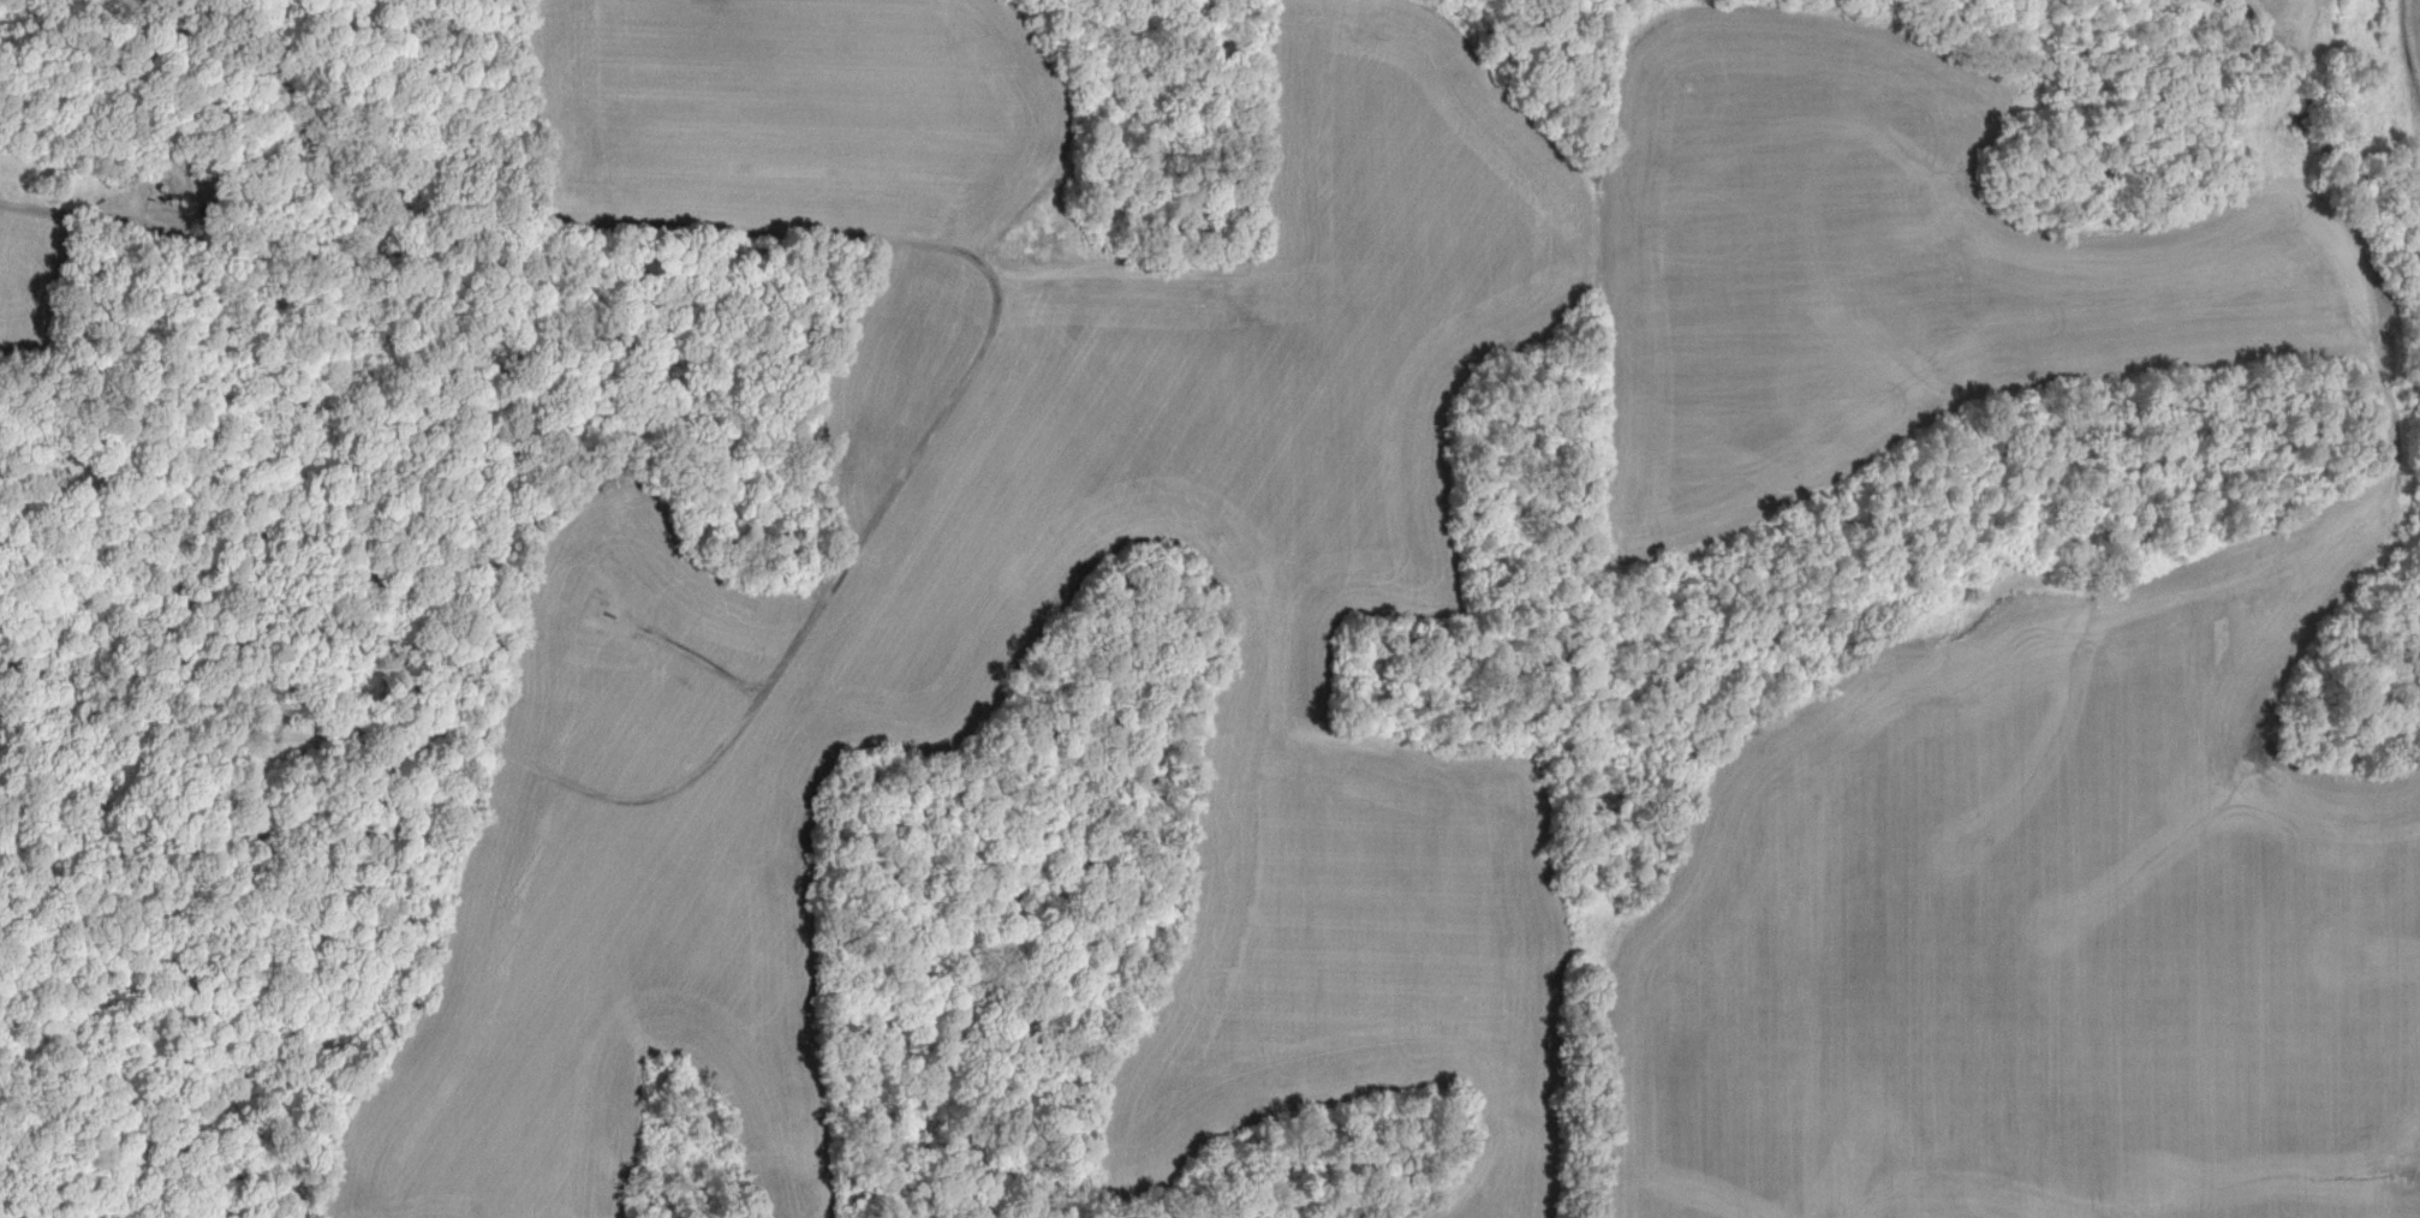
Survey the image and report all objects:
road: (892, 211)

